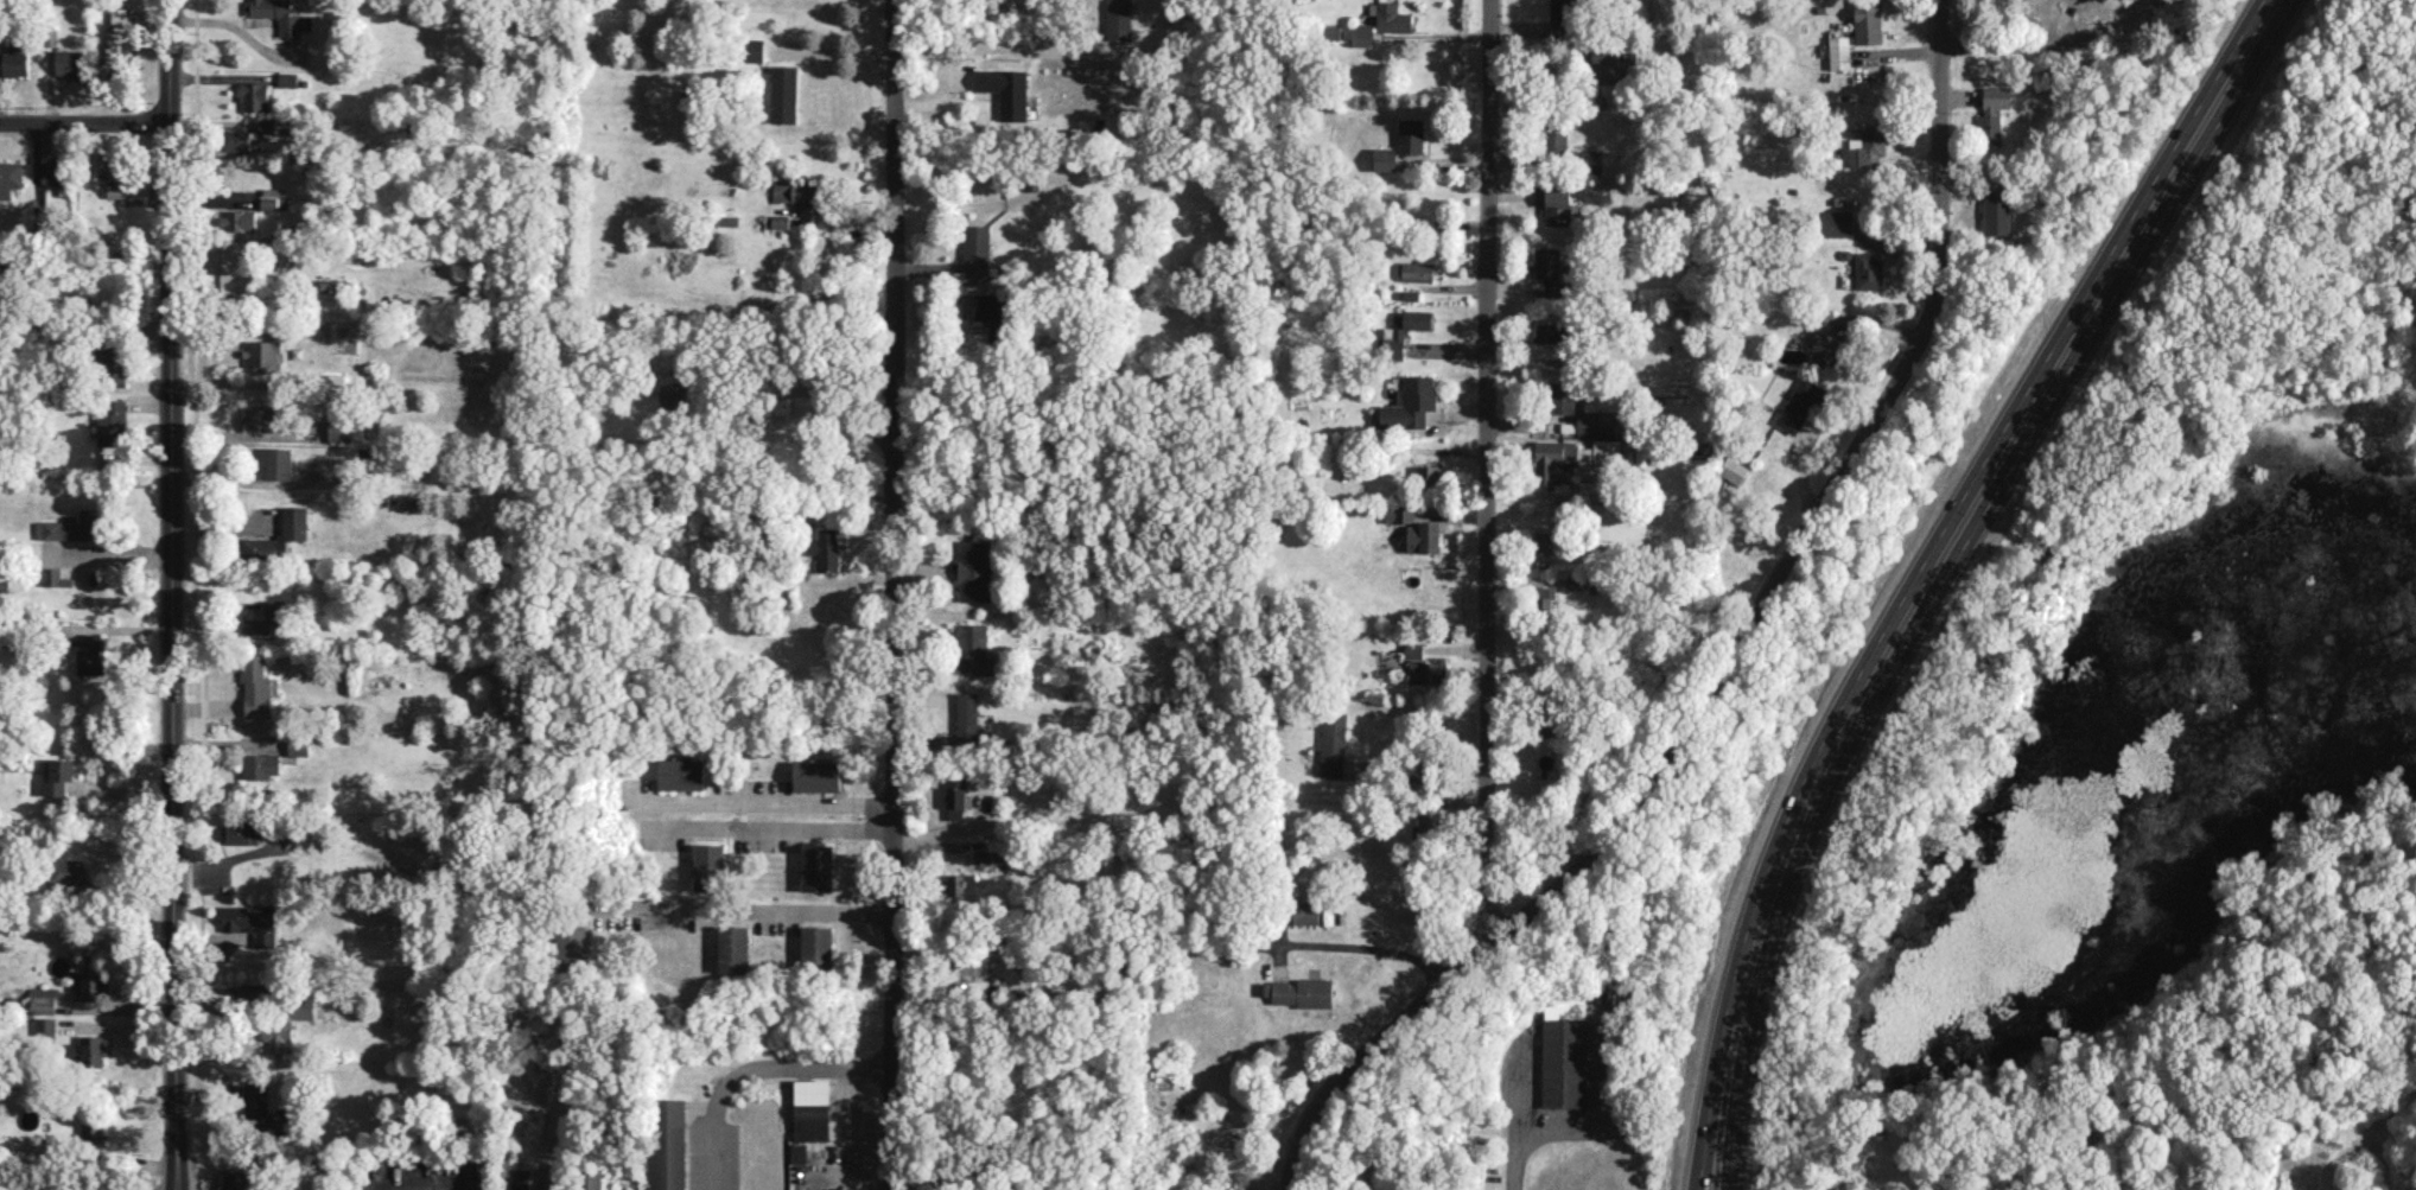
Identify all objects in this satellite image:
building: (278, 14)
building: (1563, 18)
building: (1118, 19)
building: (1868, 21)
building: (1381, 23)
building: (119, 42)
road: (999, 49)
building: (752, 50)
building: (1839, 51)
building: (15, 62)
building: (70, 62)
building: (287, 78)
building: (1007, 90)
building: (784, 94)
building: (255, 95)
building: (1992, 114)
road: (84, 122)
building: (1411, 135)
building: (1556, 136)
building: (241, 140)
building: (1867, 146)
building: (1385, 158)
building: (1591, 160)
building: (55, 171)
building: (113, 172)
building: (11, 177)
building: (795, 192)
building: (1558, 203)
building: (1996, 205)
building: (240, 218)
building: (1837, 222)
building: (977, 250)
building: (1549, 269)
building: (1417, 271)
building: (1868, 271)
building: (986, 310)
building: (1417, 319)
road: (85, 323)
building: (1547, 332)
building: (1825, 338)
building: (262, 352)
building: (114, 361)
building: (331, 383)
road: (827, 396)
building: (1562, 397)
building: (1411, 403)
building: (1803, 403)
building: (265, 419)
building: (112, 421)
road: (240, 435)
building: (1600, 452)
building: (1645, 453)
building: (1554, 460)
building: (278, 463)
building: (1732, 469)
road: (1488, 472)
building: (1429, 475)
building: (1399, 513)
building: (74, 526)
building: (294, 526)
building: (1423, 536)
building: (1543, 541)
building: (259, 547)
building: (824, 548)
building: (974, 569)
road: (1934, 569)
building: (53, 577)
road: (172, 594)
road: (892, 594)
building: (1546, 600)
building: (263, 619)
road: (1732, 647)
building: (972, 649)
building: (1413, 650)
building: (1428, 670)
building: (256, 687)
building: (967, 718)
building: (1284, 718)
building: (1333, 743)
building: (261, 765)
road: (1418, 766)
building: (681, 774)
building: (816, 775)
road: (758, 800)
road: (769, 827)
building: (241, 832)
building: (66, 872)
building: (960, 884)
road: (735, 911)
building: (1305, 911)
road: (1367, 946)
building: (965, 966)
building: (96, 984)
building: (256, 992)
road: (123, 1001)
building: (44, 1004)
road: (131, 1018)
building: (286, 1020)
building: (46, 1025)
building: (93, 1050)
building: (1564, 1052)
road: (750, 1064)
building: (263, 1109)
building: (812, 1109)
road: (1517, 1139)
building: (668, 1144)
building: (797, 1152)
building: (592, 1179)
road: (1290, 1183)

